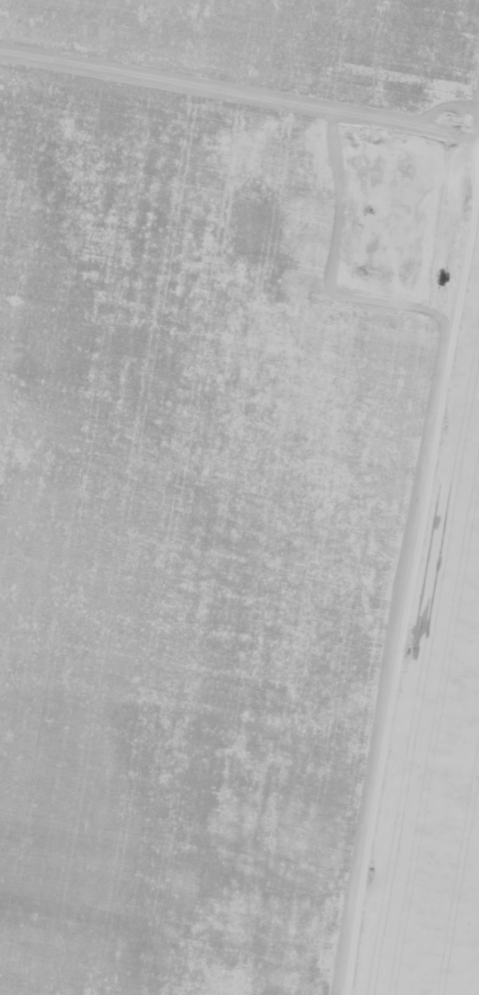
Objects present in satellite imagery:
road: (239, 90)
road: (411, 584)

